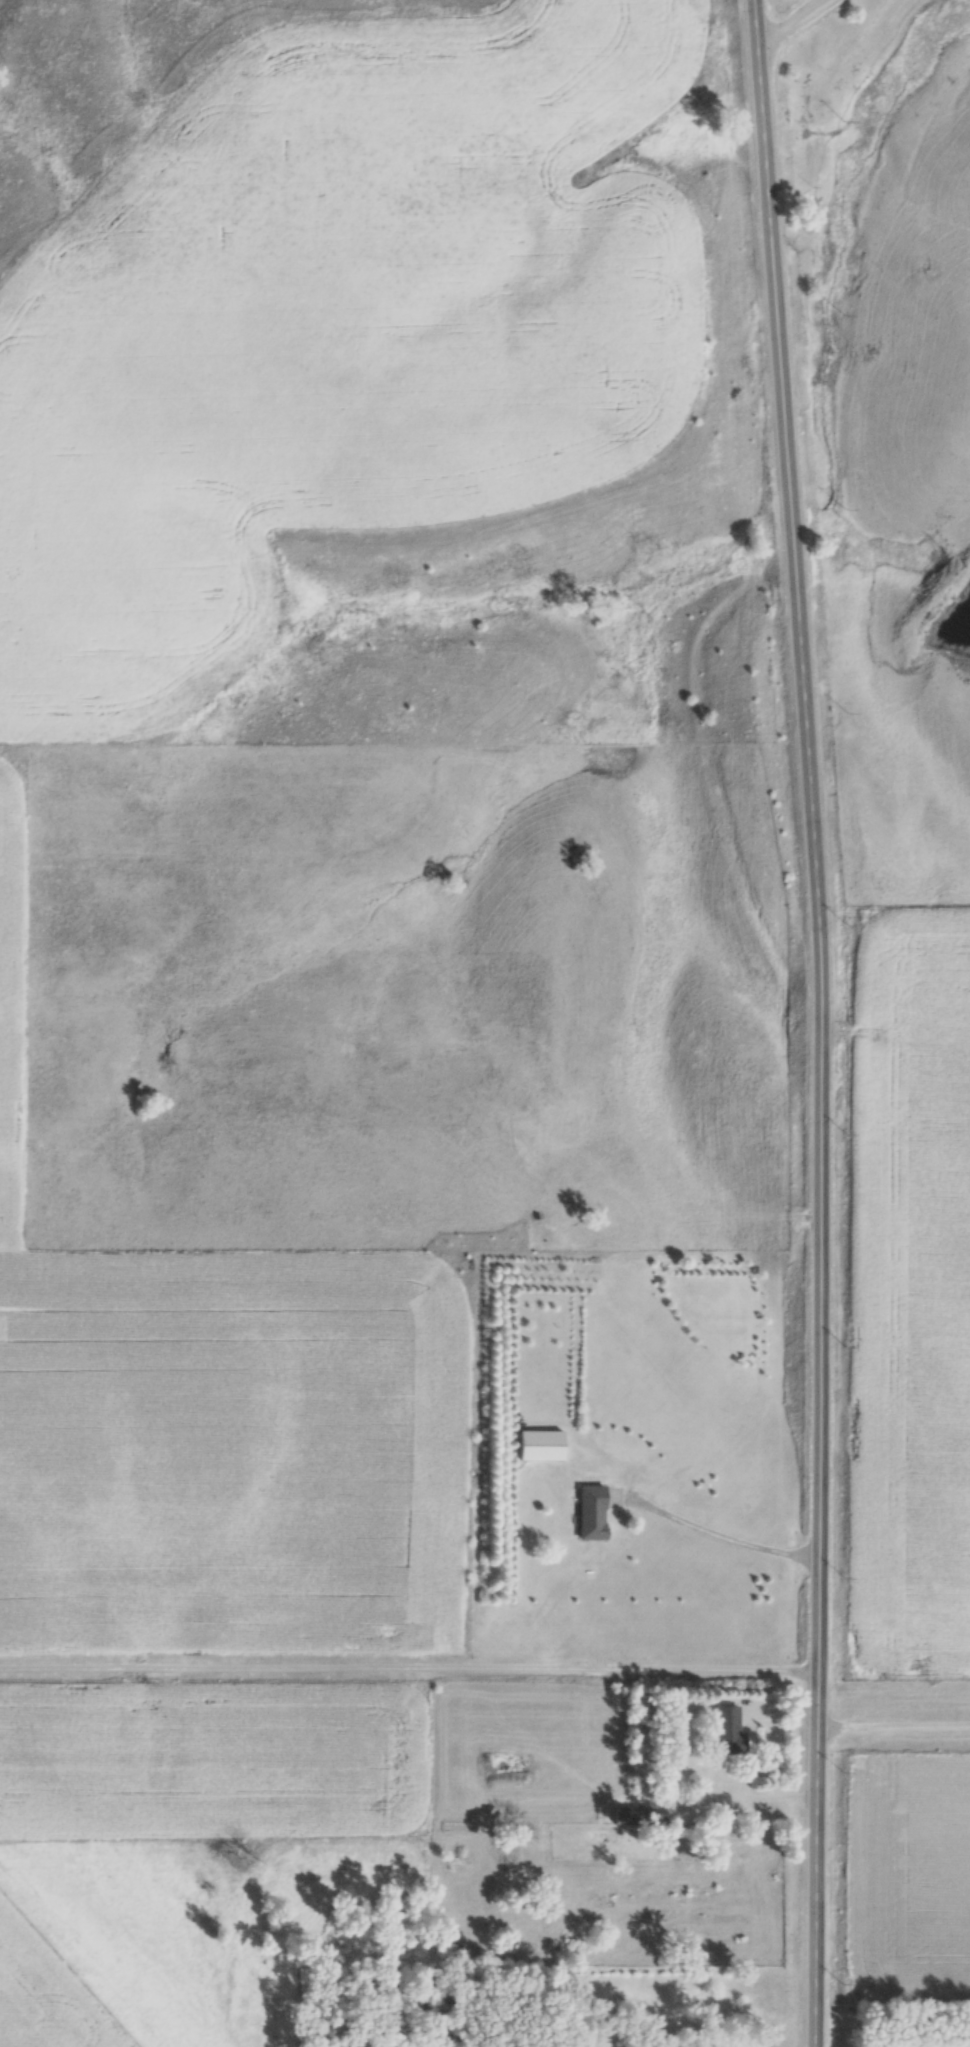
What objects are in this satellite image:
road: (787, 21)
road: (820, 1022)
building: (538, 1444)
building: (589, 1511)
road: (719, 1537)
road: (410, 1667)
road: (896, 1726)
building: (726, 1730)
building: (631, 1815)

